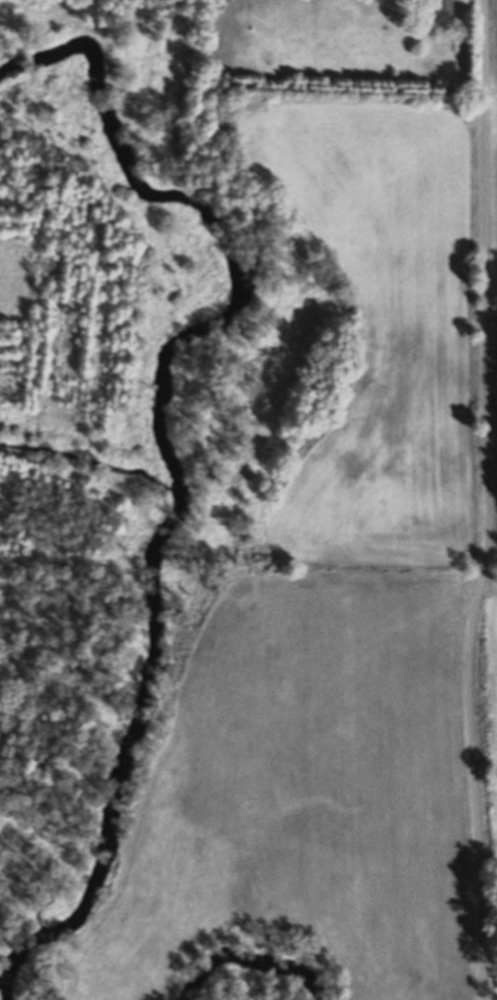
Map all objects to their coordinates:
building: (445, 7)
river: (179, 451)
road: (487, 500)
river: (244, 962)

